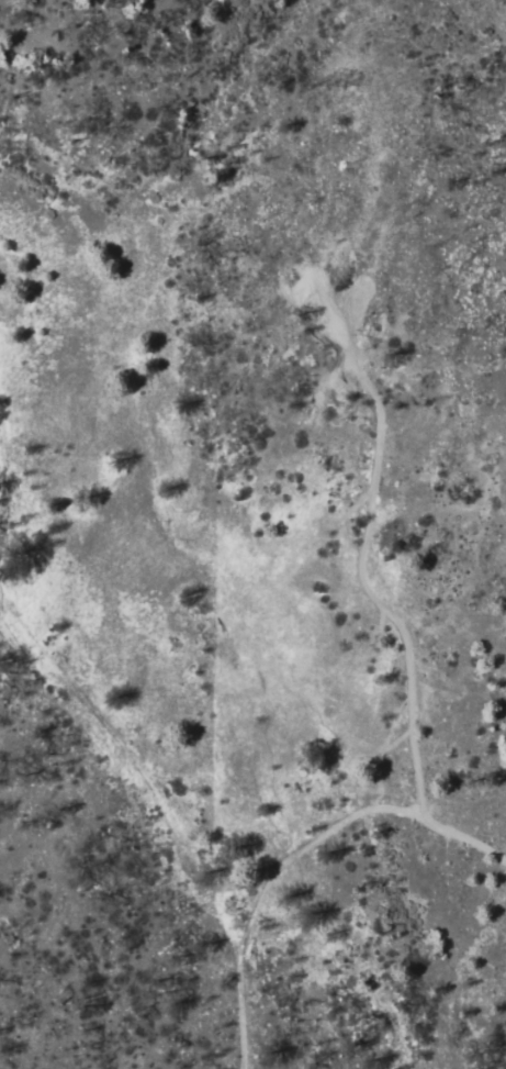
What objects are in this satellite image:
road: (370, 595)
road: (3, 597)
road: (112, 742)
road: (345, 825)
road: (241, 884)

